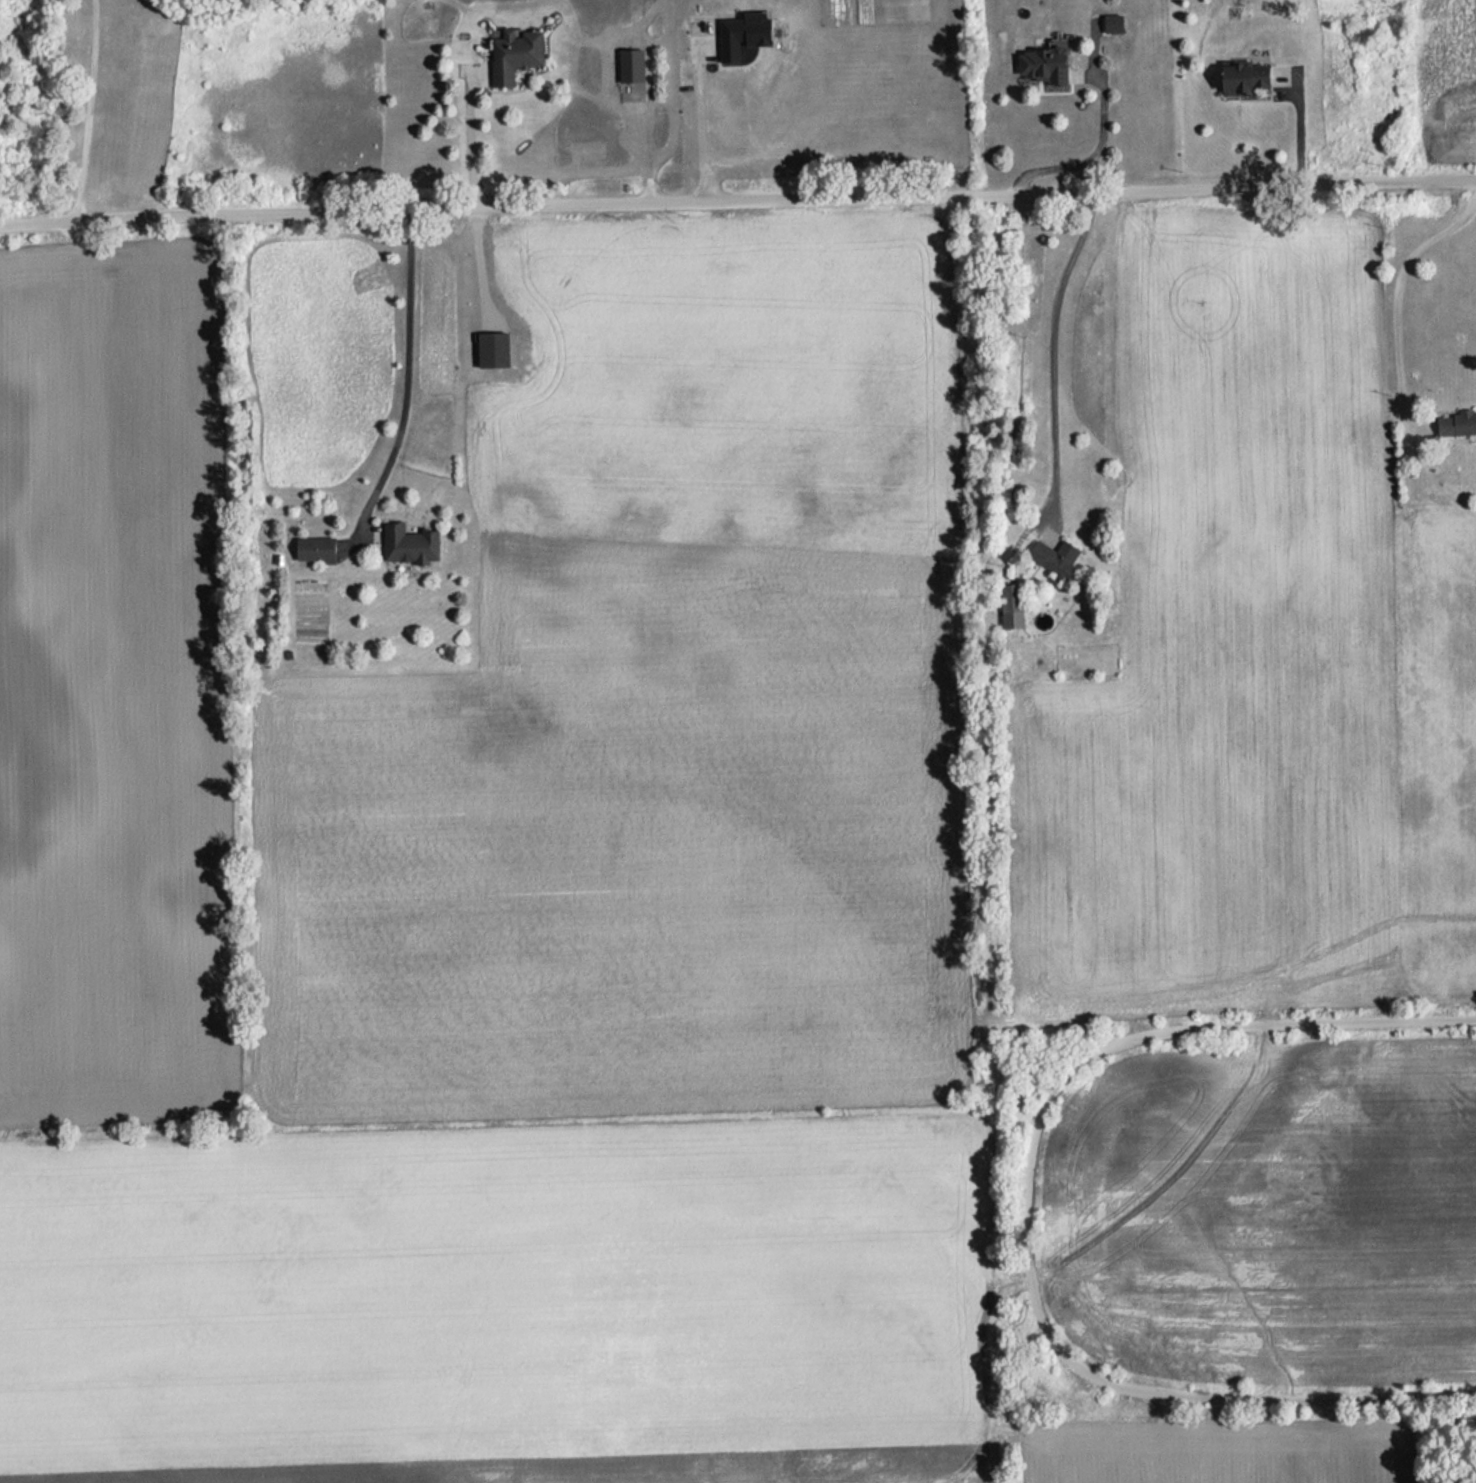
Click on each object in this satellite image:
building: (1112, 23)
building: (744, 25)
building: (516, 44)
building: (632, 55)
building: (1046, 55)
building: (1243, 68)
road: (90, 106)
road: (697, 110)
road: (1299, 125)
road: (473, 148)
road: (1082, 158)
road: (803, 161)
road: (737, 194)
road: (480, 257)
road: (1399, 279)
building: (494, 340)
road: (1053, 344)
road: (409, 364)
building: (1458, 414)
building: (412, 534)
building: (317, 540)
building: (1058, 550)
building: (1012, 596)

